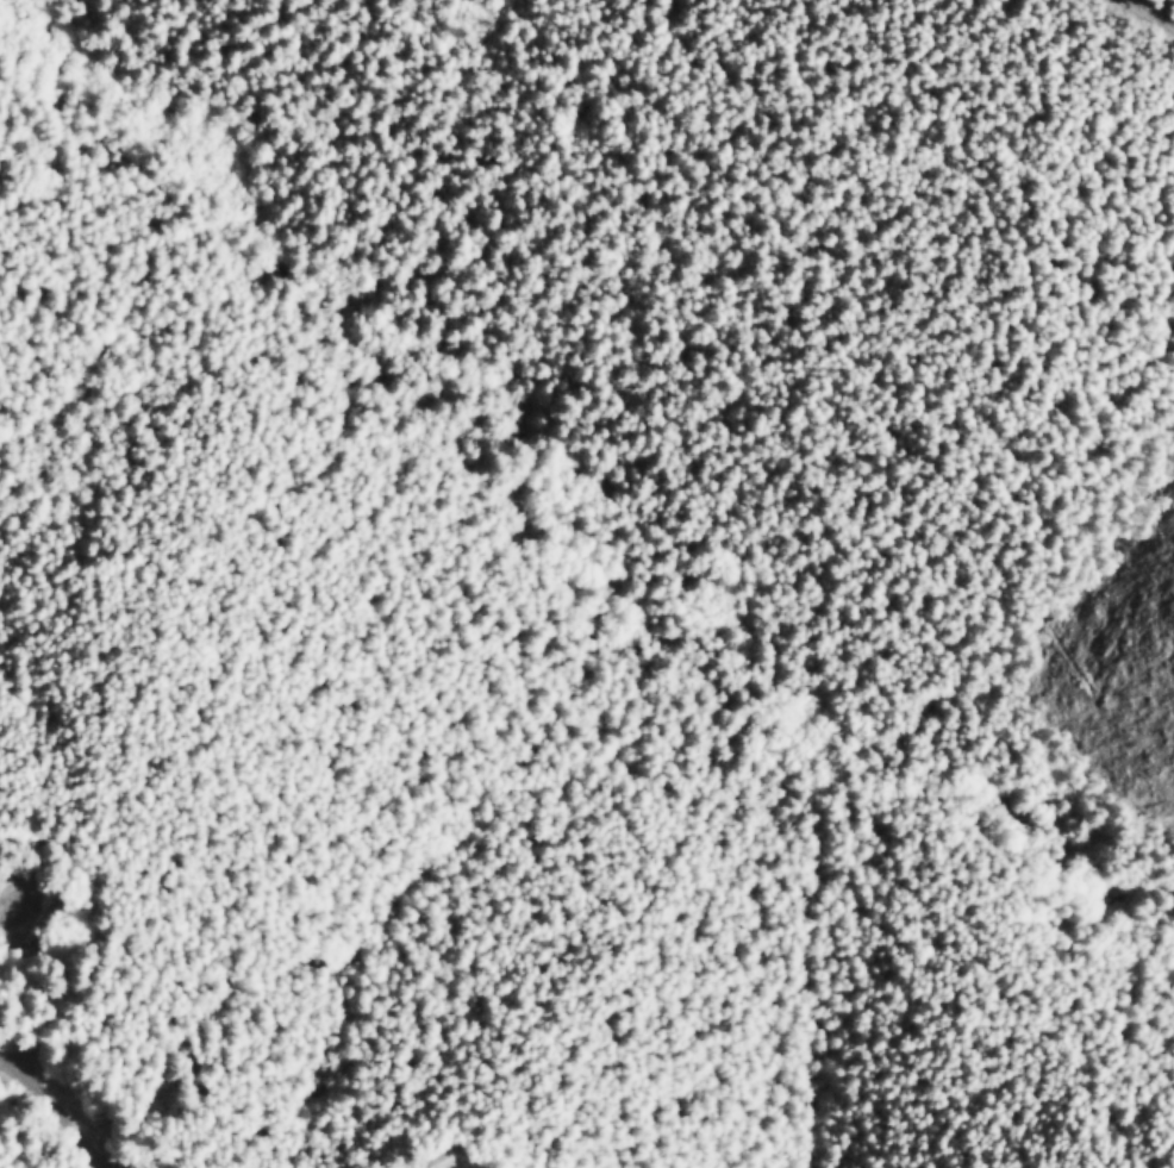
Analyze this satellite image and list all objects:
road: (57, 1111)

